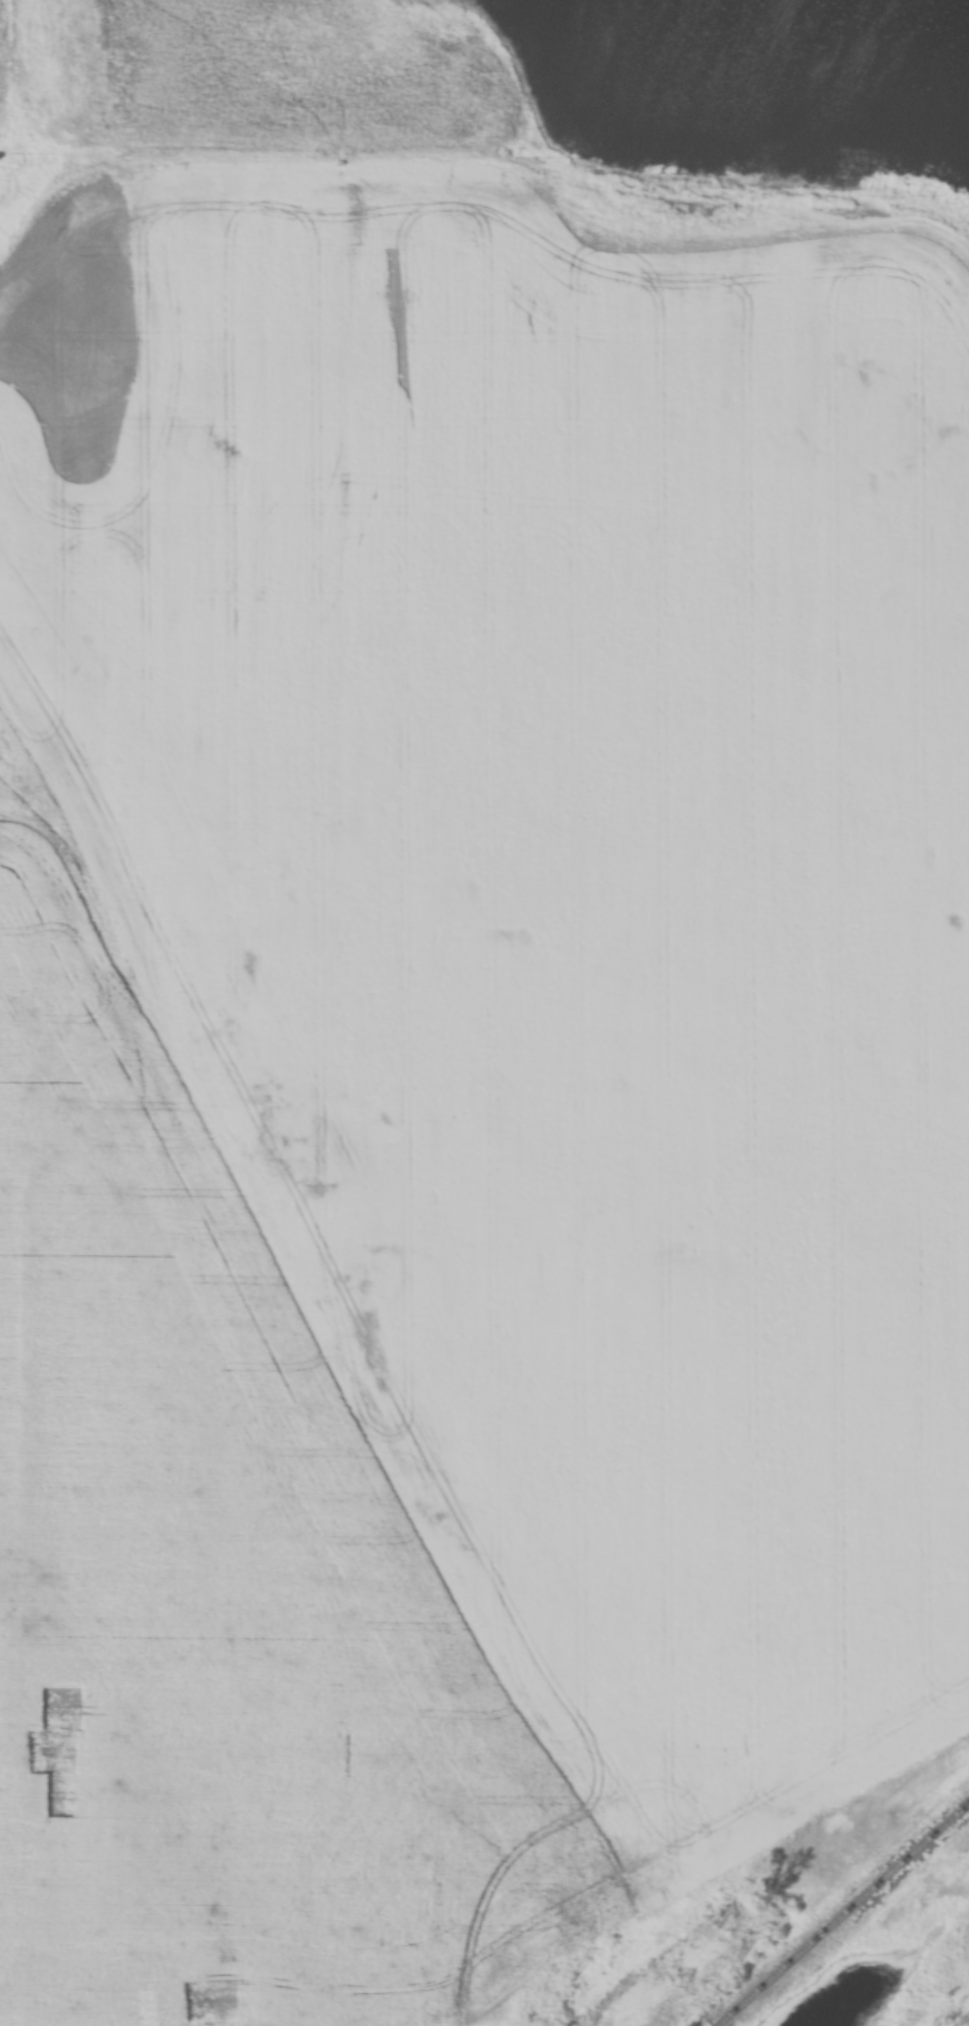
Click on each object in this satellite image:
railway: (846, 1918)

